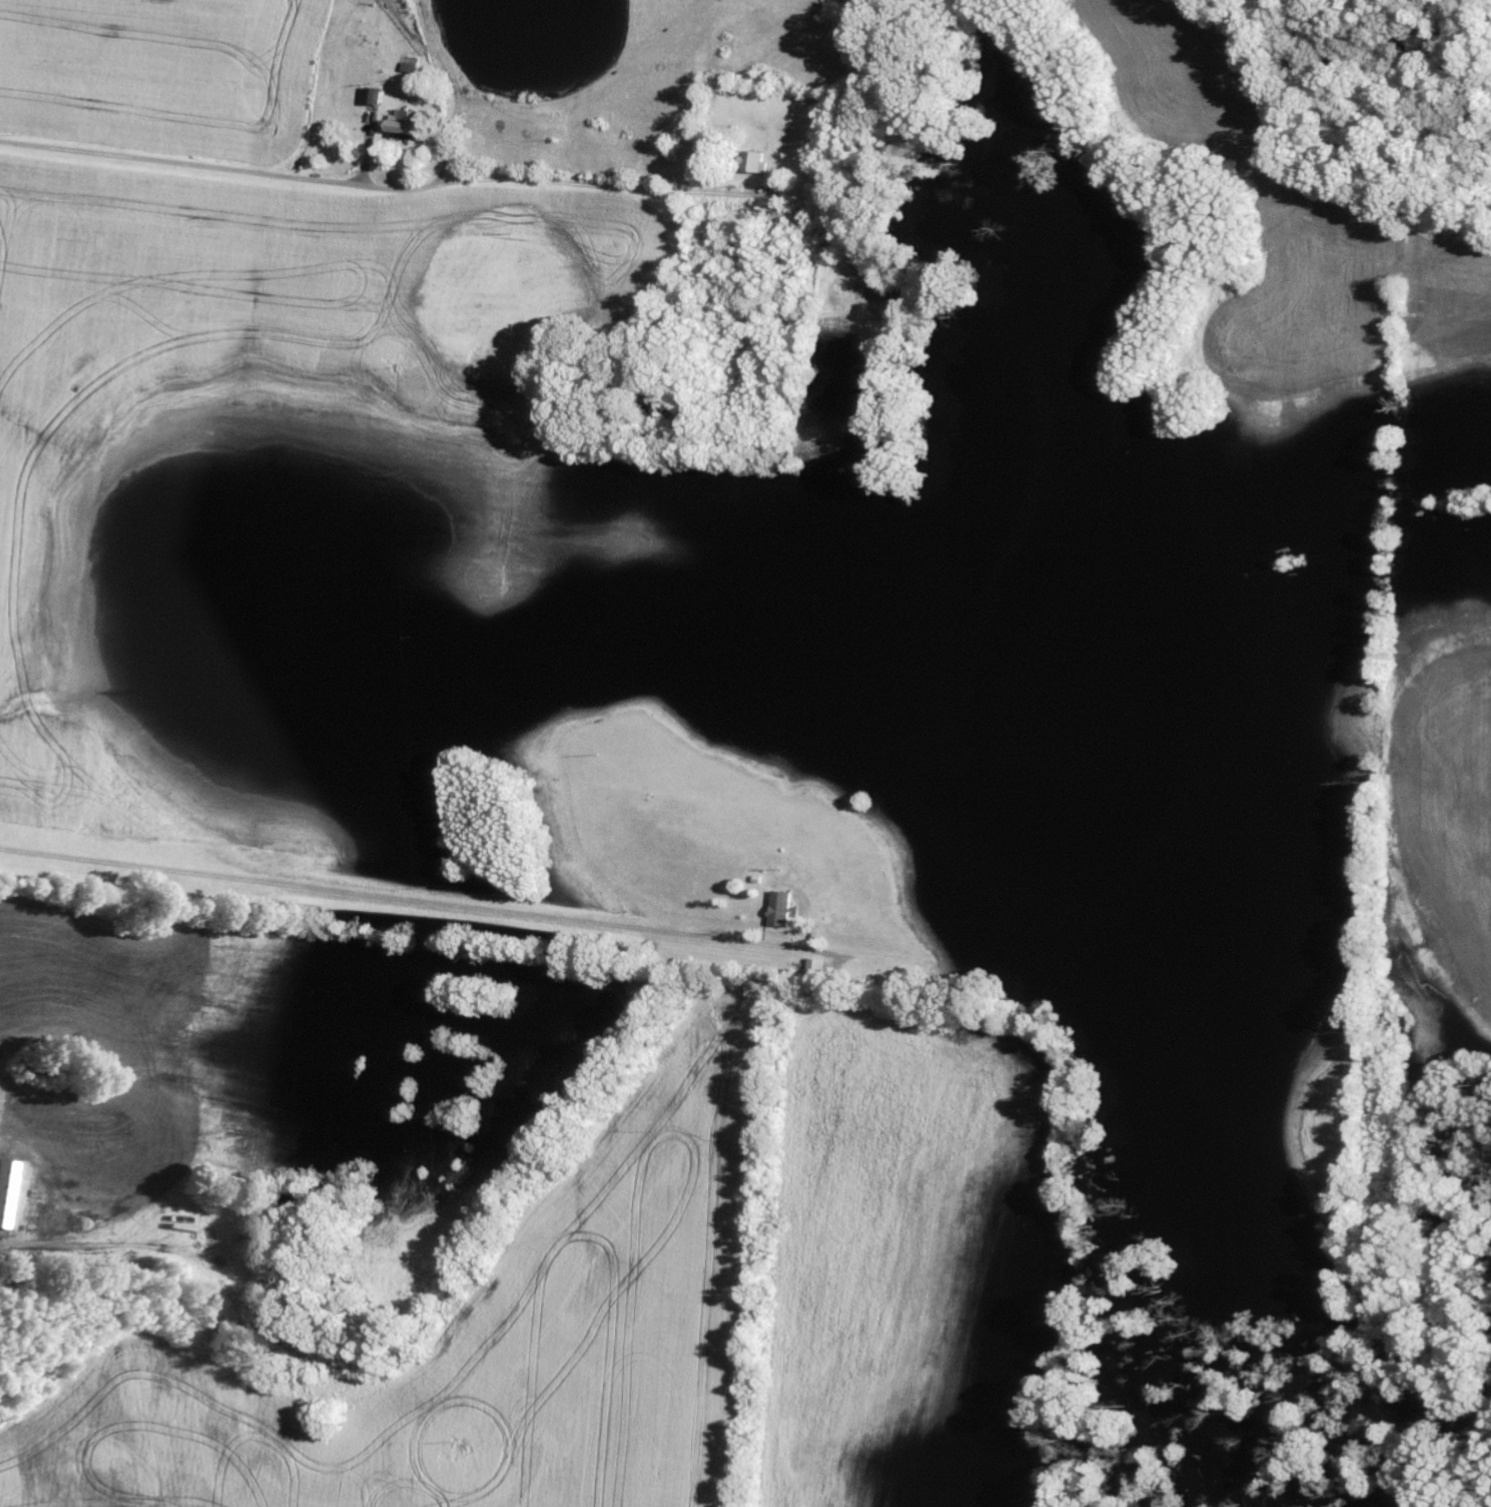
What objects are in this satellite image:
park: (855, 12)
building: (376, 98)
road: (1409, 105)
building: (408, 123)
building: (756, 164)
road: (385, 191)
road: (392, 900)
building: (783, 910)
building: (819, 970)
building: (3, 1186)
road: (116, 1250)

